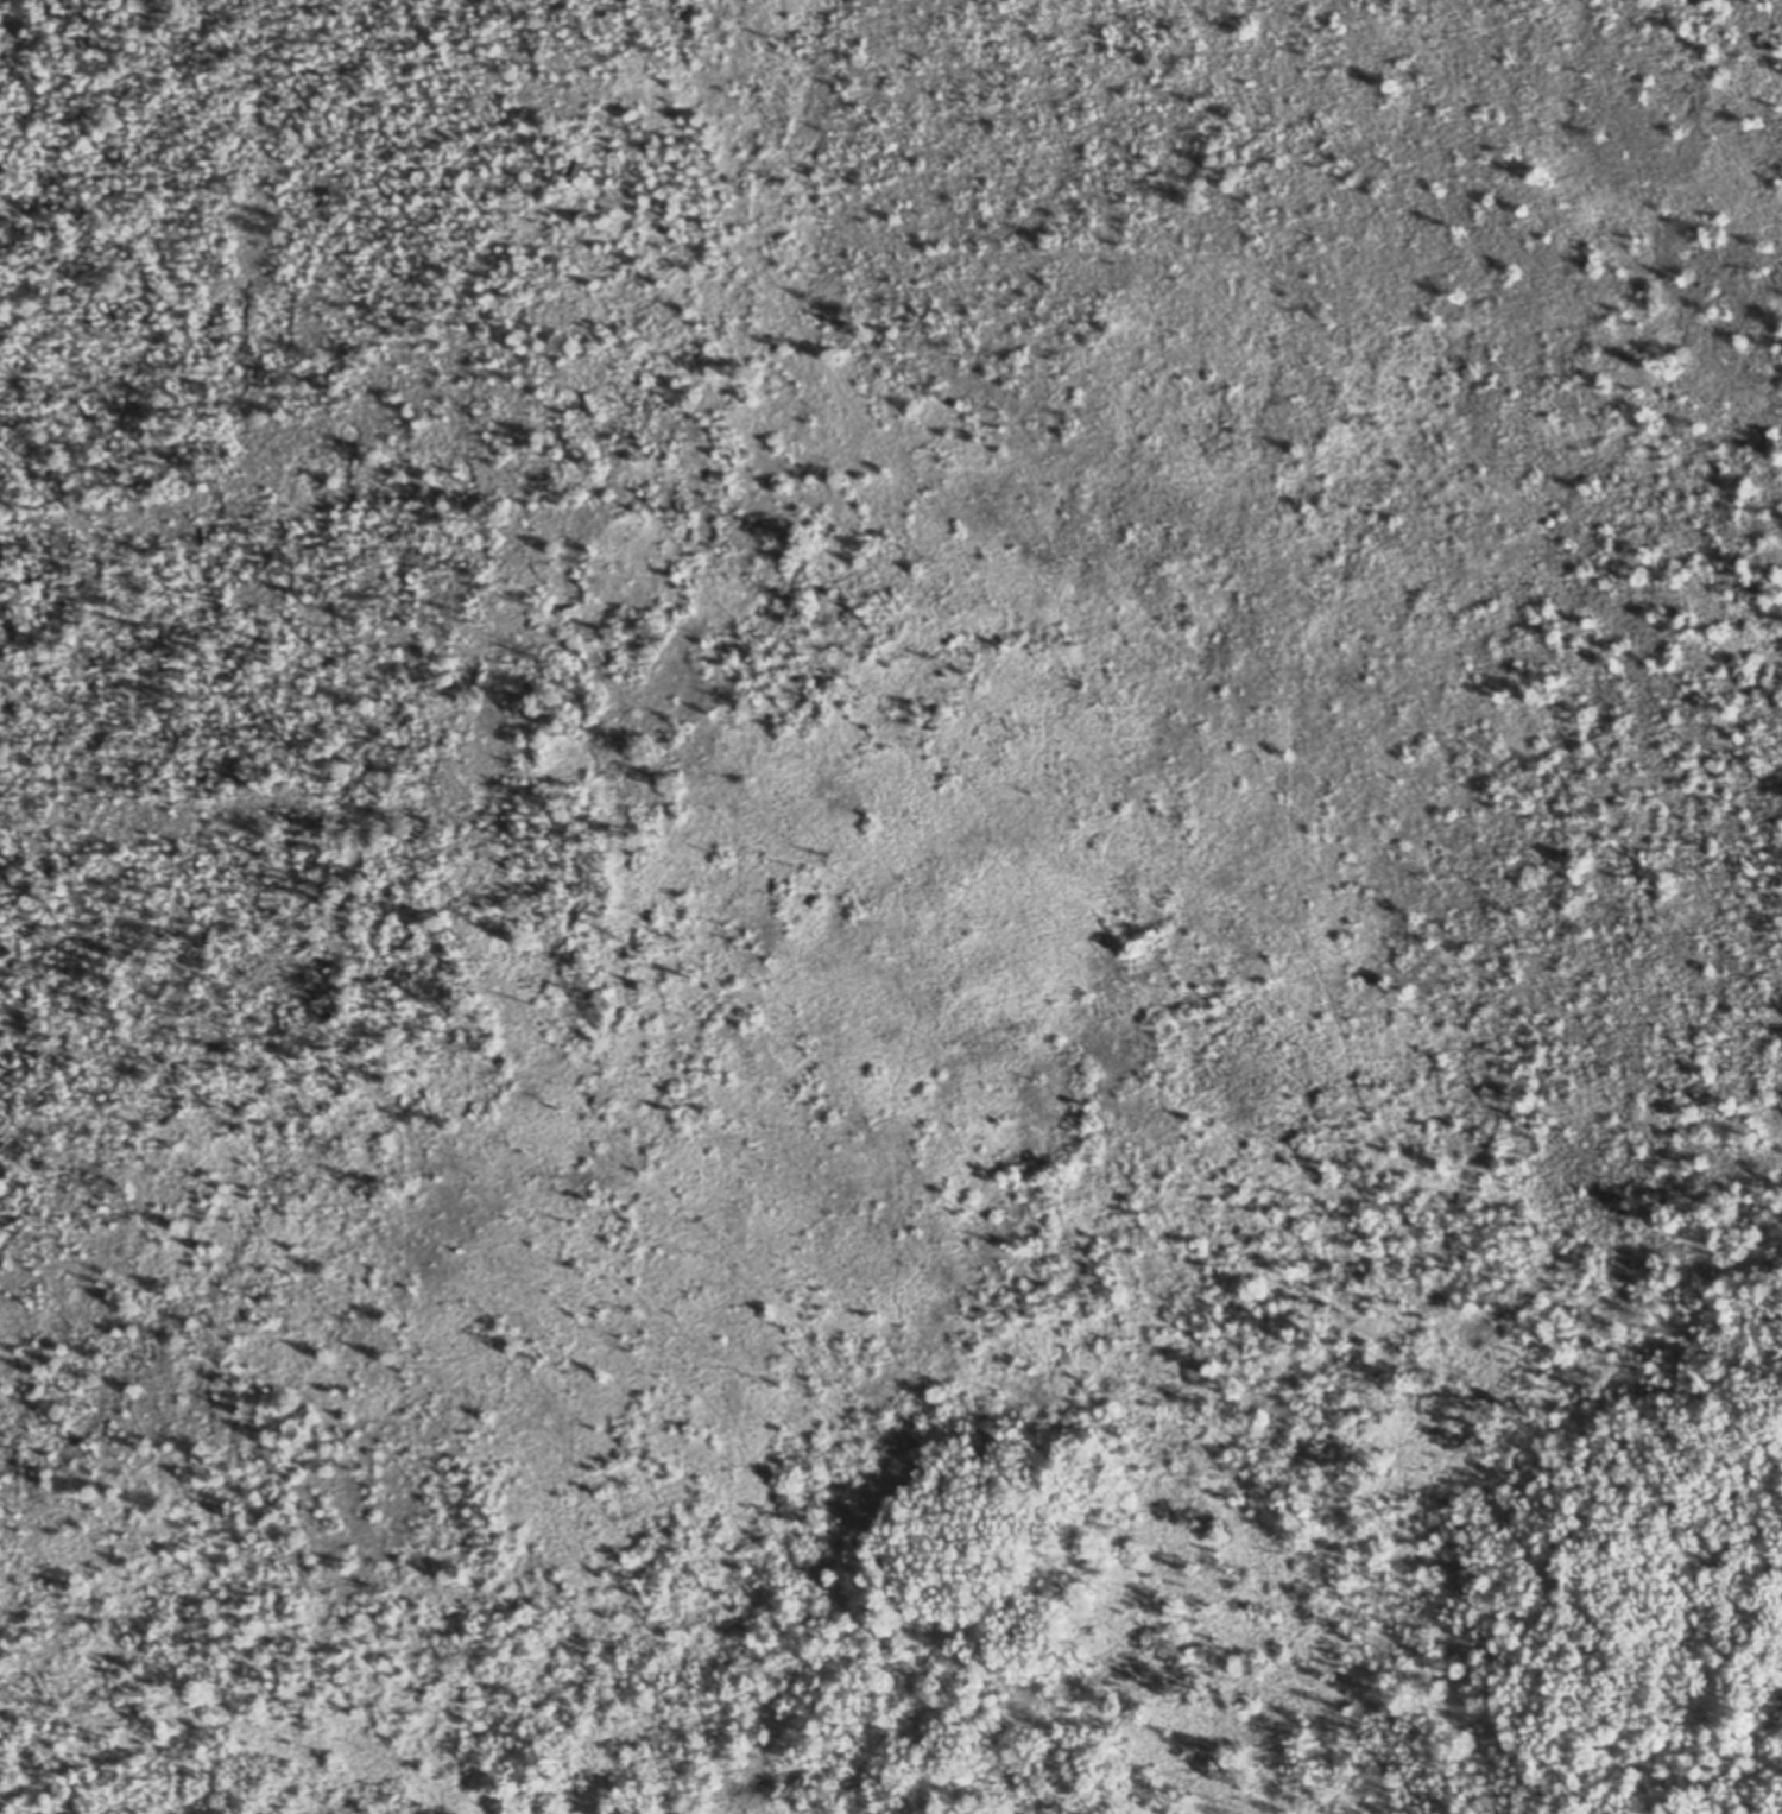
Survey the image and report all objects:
building: (577, 171)

